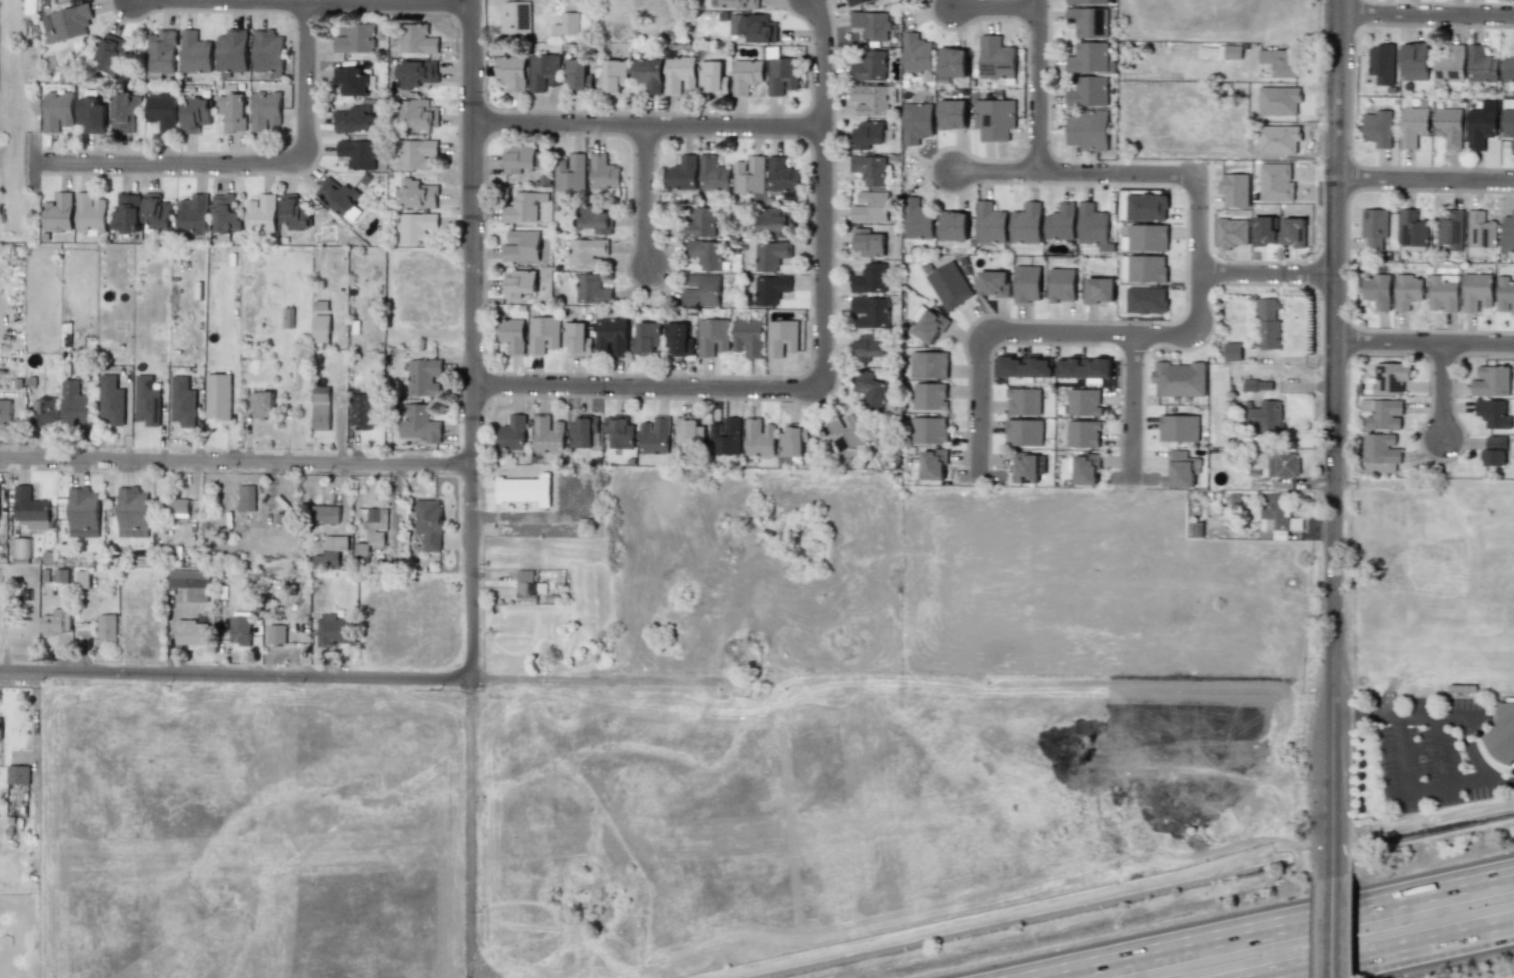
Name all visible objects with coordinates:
road: (344, 1)
building: (859, 2)
building: (1086, 2)
building: (740, 4)
road: (995, 7)
road: (1426, 12)
building: (516, 18)
building: (568, 21)
building: (1088, 21)
building: (67, 22)
building: (872, 26)
building: (757, 28)
building: (354, 37)
building: (416, 38)
building: (196, 51)
building: (1233, 52)
building: (162, 53)
building: (268, 53)
building: (111, 54)
building: (232, 54)
building: (917, 54)
building: (997, 58)
building: (1089, 58)
building: (1415, 60)
building: (953, 61)
building: (1280, 62)
building: (1382, 62)
building: (1451, 63)
building: (1482, 64)
building: (870, 66)
building: (1508, 67)
building: (510, 71)
building: (543, 71)
building: (416, 73)
building: (647, 73)
building: (680, 73)
building: (782, 74)
building: (577, 75)
building: (612, 75)
building: (746, 76)
building: (712, 78)
building: (353, 80)
road: (1038, 85)
building: (1087, 91)
building: (873, 98)
building: (1279, 101)
building: (57, 110)
building: (233, 110)
building: (264, 110)
building: (162, 112)
building: (420, 112)
building: (124, 113)
building: (195, 113)
building: (90, 114)
building: (953, 114)
building: (995, 117)
building: (355, 119)
building: (917, 122)
building: (1509, 124)
road: (646, 125)
building: (1413, 126)
building: (1448, 126)
building: (1378, 127)
building: (1480, 127)
building: (1089, 128)
building: (870, 135)
building: (416, 153)
building: (358, 154)
building: (519, 159)
road: (247, 162)
building: (870, 169)
road: (1073, 172)
building: (603, 173)
building: (570, 174)
building: (682, 174)
building: (713, 174)
building: (749, 175)
building: (782, 175)
road: (1423, 179)
building: (1276, 183)
building: (337, 194)
building: (416, 194)
road: (644, 195)
building: (871, 206)
building: (1146, 207)
building: (521, 208)
building: (58, 212)
building: (91, 212)
building: (296, 212)
building: (261, 213)
building: (157, 214)
building: (193, 214)
building: (127, 215)
building: (224, 216)
building: (595, 220)
building: (917, 220)
building: (1060, 221)
building: (1025, 222)
building: (699, 223)
building: (773, 223)
building: (990, 223)
building: (1092, 223)
building: (954, 225)
building: (416, 226)
building: (1375, 227)
building: (1452, 229)
building: (1482, 229)
building: (1264, 231)
building: (1413, 231)
building: (1293, 232)
building: (1508, 234)
building: (1148, 237)
building: (867, 242)
building: (521, 246)
building: (587, 253)
building: (707, 254)
building: (771, 255)
building: (1145, 268)
road: (1264, 272)
building: (870, 278)
building: (520, 282)
building: (1028, 283)
building: (994, 284)
building: (949, 285)
building: (1063, 285)
building: (592, 289)
building: (771, 289)
building: (1099, 290)
building: (1377, 290)
building: (702, 291)
building: (1408, 291)
building: (1476, 291)
building: (1444, 293)
building: (1505, 294)
building: (1146, 300)
building: (871, 311)
building: (1268, 323)
building: (931, 325)
building: (321, 328)
road: (1094, 333)
building: (511, 334)
building: (543, 334)
building: (612, 336)
building: (713, 337)
building: (748, 337)
building: (782, 338)
building: (577, 339)
building: (679, 339)
road: (1423, 340)
building: (868, 346)
building: (1232, 351)
road: (822, 364)
building: (930, 364)
building: (1024, 366)
building: (1085, 368)
building: (424, 377)
building: (1388, 378)
building: (1179, 379)
building: (1491, 381)
building: (1257, 384)
road: (1440, 389)
building: (872, 390)
building: (218, 396)
building: (931, 396)
building: (111, 400)
building: (147, 401)
building: (1023, 401)
building: (183, 402)
building: (1084, 402)
building: (73, 403)
building: (262, 404)
road: (1132, 405)
building: (321, 408)
building: (360, 410)
building: (5, 411)
building: (44, 411)
building: (1384, 413)
building: (1494, 413)
building: (1266, 415)
building: (420, 424)
building: (1179, 427)
building: (930, 430)
building: (845, 431)
building: (584, 432)
building: (620, 432)
building: (1024, 432)
building: (690, 433)
building: (1084, 433)
building: (511, 434)
building: (548, 434)
road: (1332, 435)
building: (655, 436)
building: (725, 437)
building: (759, 437)
building: (793, 440)
building: (1494, 451)
building: (1381, 452)
road: (236, 460)
building: (934, 464)
building: (1286, 464)
building: (1025, 467)
building: (1086, 468)
building: (1181, 468)
road: (980, 475)
road: (1133, 477)
road: (472, 488)
building: (524, 490)
building: (246, 498)
building: (180, 506)
building: (30, 509)
building: (83, 512)
building: (132, 512)
building: (323, 514)
building: (1276, 514)
building: (429, 523)
building: (376, 525)
building: (20, 548)
building: (331, 552)
building: (82, 579)
building: (192, 583)
building: (526, 586)
building: (55, 622)
building: (106, 628)
building: (240, 628)
building: (333, 630)
building: (192, 631)
building: (276, 635)
road: (362, 677)
road: (1452, 711)
building: (0, 727)
building: (1502, 732)
road: (1438, 751)
building: (17, 774)
road: (1403, 798)
road: (1268, 923)
road: (1330, 924)
road: (1415, 957)

